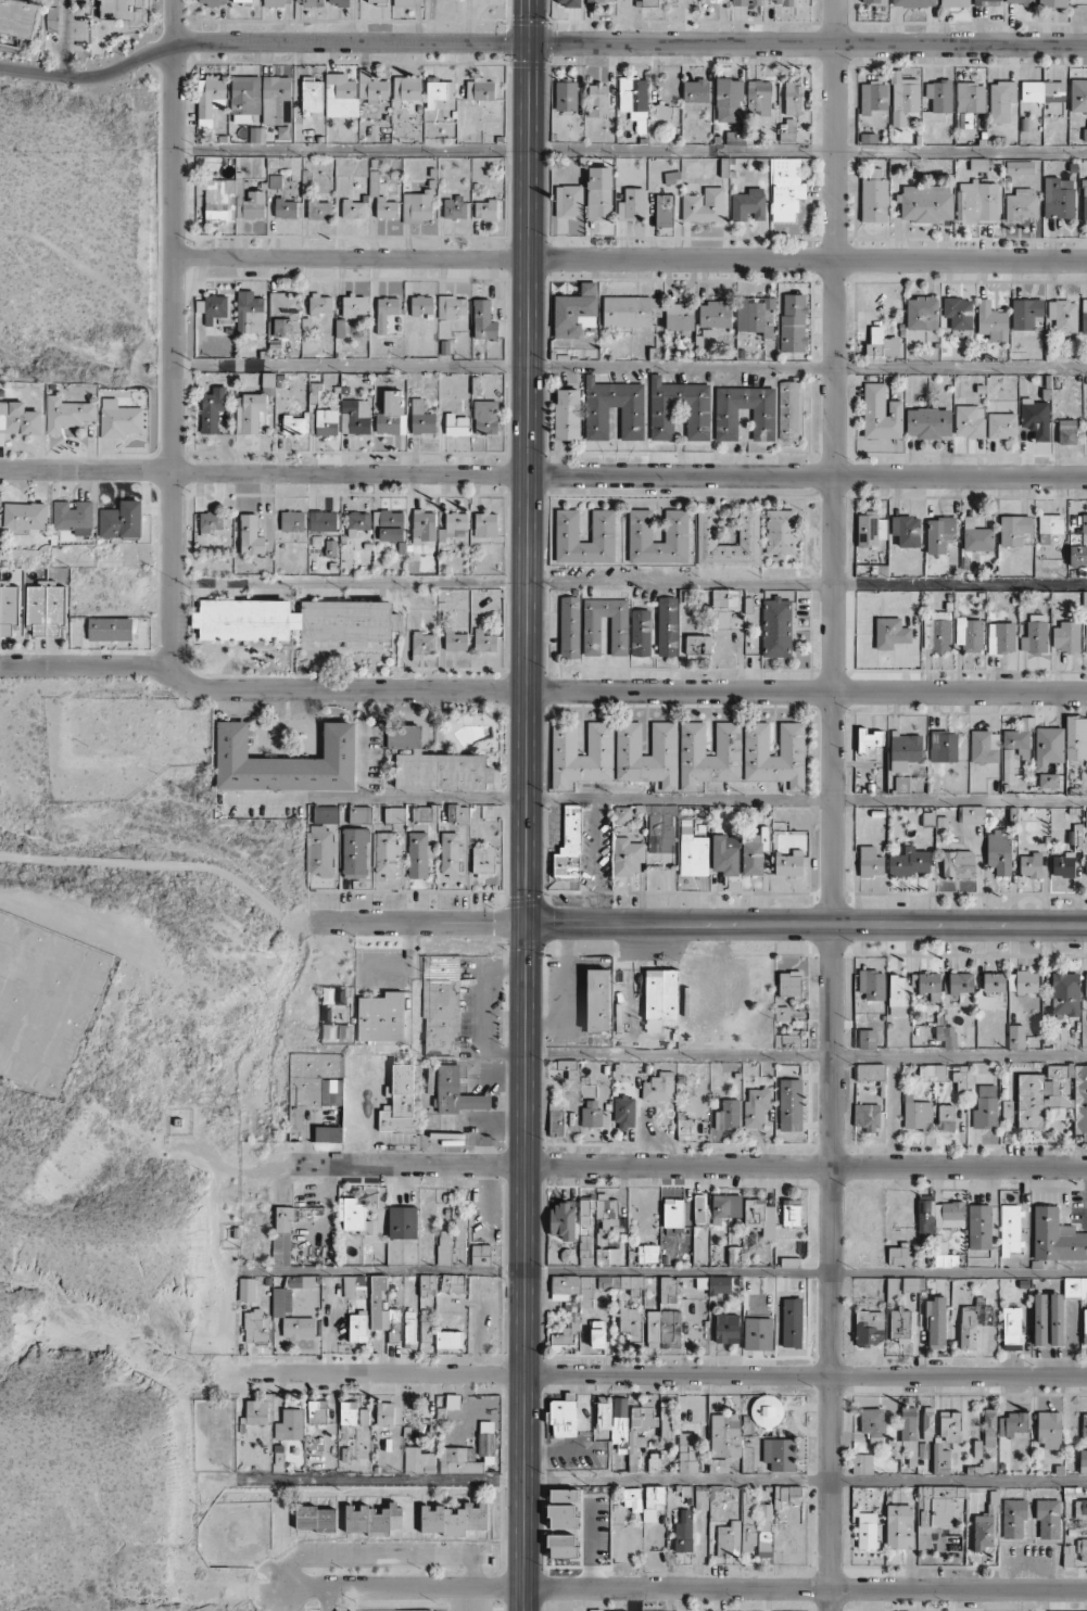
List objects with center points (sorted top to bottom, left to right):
building: (211, 1)
building: (242, 1)
building: (377, 1)
building: (599, 1)
building: (713, 1)
building: (780, 1)
building: (874, 1)
building: (1020, 1)
building: (277, 2)
building: (309, 2)
building: (341, 2)
building: (407, 2)
building: (568, 2)
building: (649, 2)
building: (746, 2)
building: (913, 2)
building: (986, 2)
building: (953, 3)
building: (1052, 3)
building: (118, 9)
building: (18, 17)
road: (531, 22)
road: (67, 38)
road: (261, 41)
road: (808, 43)
building: (371, 87)
building: (407, 88)
building: (480, 89)
building: (695, 90)
building: (1042, 91)
building: (439, 92)
building: (1078, 93)
building: (312, 94)
building: (340, 96)
building: (566, 96)
building: (939, 96)
building: (873, 97)
building: (244, 98)
building: (633, 98)
building: (793, 98)
building: (970, 98)
building: (210, 99)
building: (276, 100)
building: (598, 100)
building: (729, 100)
building: (759, 100)
building: (903, 100)
building: (1001, 100)
building: (662, 115)
building: (787, 130)
building: (1085, 134)
building: (256, 135)
road: (630, 152)
building: (672, 177)
building: (785, 189)
building: (598, 193)
building: (874, 196)
building: (1058, 196)
building: (232, 200)
building: (568, 200)
building: (1084, 200)
building: (978, 201)
building: (925, 203)
building: (632, 204)
building: (747, 204)
building: (1021, 204)
building: (704, 205)
building: (418, 206)
building: (454, 207)
building: (285, 208)
building: (354, 208)
building: (387, 208)
building: (319, 210)
building: (485, 210)
building: (663, 210)
road: (628, 258)
building: (320, 304)
building: (421, 304)
building: (354, 305)
building: (214, 307)
building: (576, 310)
building: (630, 310)
building: (958, 312)
building: (250, 313)
building: (922, 313)
building: (1026, 313)
building: (387, 314)
building: (715, 314)
building: (283, 315)
building: (755, 315)
building: (1063, 315)
building: (679, 316)
building: (1084, 316)
building: (483, 320)
building: (991, 321)
building: (793, 322)
road: (168, 332)
building: (881, 346)
road: (628, 366)
building: (267, 379)
building: (614, 394)
building: (212, 409)
building: (679, 409)
building: (788, 410)
building: (249, 411)
building: (881, 413)
building: (66, 414)
building: (392, 414)
building: (567, 414)
building: (355, 416)
building: (485, 417)
building: (421, 418)
building: (1036, 418)
building: (18, 419)
building: (119, 419)
building: (326, 421)
building: (969, 421)
building: (927, 422)
building: (725, 423)
building: (294, 424)
building: (456, 424)
building: (1001, 424)
building: (1067, 431)
road: (543, 473)
building: (25, 516)
building: (73, 517)
building: (122, 520)
building: (292, 520)
building: (323, 521)
building: (456, 521)
building: (212, 522)
building: (358, 523)
building: (1050, 523)
building: (485, 524)
building: (567, 524)
building: (391, 525)
building: (677, 525)
building: (424, 527)
building: (748, 527)
building: (1084, 528)
building: (869, 529)
building: (906, 530)
building: (1013, 530)
building: (780, 532)
building: (251, 534)
building: (939, 534)
building: (976, 536)
building: (1078, 556)
road: (627, 586)
building: (725, 598)
building: (45, 609)
building: (295, 620)
building: (569, 626)
building: (667, 626)
building: (776, 627)
building: (110, 629)
building: (937, 631)
building: (641, 632)
building: (890, 632)
building: (969, 633)
building: (1035, 634)
building: (591, 635)
building: (1085, 635)
building: (1065, 636)
building: (1001, 637)
building: (455, 640)
building: (484, 640)
building: (422, 642)
building: (698, 644)
road: (540, 690)
building: (1076, 737)
building: (869, 738)
building: (1020, 738)
building: (943, 746)
building: (984, 746)
building: (1048, 746)
building: (905, 750)
building: (286, 761)
building: (432, 764)
building: (1009, 765)
building: (582, 766)
building: (646, 768)
building: (709, 768)
building: (774, 768)
building: (1049, 779)
building: (901, 783)
road: (807, 800)
road: (832, 804)
building: (457, 812)
building: (424, 813)
building: (326, 814)
building: (359, 814)
building: (394, 814)
building: (622, 814)
building: (972, 814)
building: (1086, 819)
road: (527, 826)
building: (320, 851)
building: (754, 851)
building: (999, 851)
building: (355, 852)
building: (568, 852)
building: (692, 852)
building: (385, 853)
building: (450, 854)
building: (725, 854)
building: (417, 855)
building: (628, 857)
building: (483, 860)
building: (870, 862)
building: (910, 862)
building: (788, 863)
building: (959, 864)
building: (1031, 864)
building: (1063, 864)
building: (1085, 865)
road: (160, 866)
road: (417, 922)
road: (806, 924)
building: (994, 981)
building: (1023, 981)
building: (961, 982)
building: (871, 984)
building: (789, 985)
building: (930, 985)
building: (1085, 987)
building: (1065, 993)
building: (897, 995)
building: (660, 998)
building: (598, 1000)
building: (441, 1004)
building: (381, 1017)
building: (946, 1035)
building: (1015, 1037)
building: (867, 1038)
building: (786, 1040)
road: (807, 1054)
building: (571, 1068)
building: (870, 1071)
building: (932, 1071)
building: (960, 1078)
building: (313, 1083)
building: (659, 1087)
building: (455, 1095)
building: (1053, 1095)
building: (400, 1099)
building: (791, 1104)
building: (756, 1107)
building: (985, 1107)
building: (1007, 1111)
building: (624, 1112)
building: (593, 1114)
building: (728, 1115)
building: (918, 1115)
building: (867, 1116)
building: (946, 1117)
building: (555, 1119)
building: (684, 1128)
building: (328, 1133)
road: (652, 1166)
building: (726, 1205)
building: (700, 1208)
building: (598, 1210)
building: (792, 1212)
building: (672, 1213)
building: (351, 1214)
building: (952, 1214)
building: (760, 1217)
building: (563, 1220)
building: (403, 1222)
building: (926, 1223)
building: (979, 1227)
building: (1010, 1229)
building: (282, 1233)
building: (1056, 1236)
building: (452, 1243)
building: (585, 1250)
building: (647, 1253)
building: (480, 1255)
building: (607, 1256)
building: (900, 1256)
road: (663, 1271)
building: (300, 1281)
building: (608, 1281)
building: (427, 1282)
building: (452, 1282)
building: (912, 1283)
building: (719, 1284)
building: (1075, 1285)
building: (354, 1286)
building: (247, 1289)
building: (573, 1289)
building: (668, 1290)
building: (892, 1290)
building: (281, 1301)
building: (378, 1303)
building: (574, 1318)
building: (1039, 1319)
building: (1057, 1319)
building: (974, 1321)
building: (792, 1322)
building: (935, 1322)
building: (393, 1324)
building: (632, 1324)
building: (426, 1325)
building: (899, 1325)
building: (1085, 1325)
building: (255, 1327)
building: (299, 1327)
building: (869, 1327)
building: (357, 1328)
building: (726, 1328)
building: (409, 1329)
building: (653, 1329)
building: (670, 1329)
building: (597, 1333)
building: (758, 1333)
building: (448, 1340)
road: (642, 1374)
building: (453, 1400)
building: (256, 1411)
building: (317, 1411)
building: (767, 1411)
building: (353, 1413)
building: (384, 1413)
building: (564, 1416)
building: (614, 1419)
building: (666, 1420)
building: (872, 1423)
building: (927, 1423)
building: (290, 1424)
building: (1012, 1424)
building: (950, 1426)
building: (1084, 1426)
building: (989, 1428)
building: (1049, 1429)
building: (725, 1435)
building: (907, 1435)
building: (486, 1441)
building: (923, 1450)
building: (687, 1451)
building: (780, 1454)
building: (418, 1460)
building: (458, 1460)
building: (940, 1460)
building: (654, 1461)
building: (1083, 1461)
building: (862, 1463)
building: (718, 1464)
road: (642, 1483)
building: (787, 1492)
building: (717, 1493)
building: (564, 1495)
building: (700, 1497)
building: (632, 1498)
building: (653, 1501)
building: (936, 1506)
building: (1080, 1507)
building: (561, 1515)
building: (1013, 1518)
building: (316, 1519)
building: (372, 1519)
building: (453, 1519)
building: (1048, 1519)
building: (747, 1521)
building: (899, 1526)
building: (764, 1530)
building: (867, 1531)
building: (683, 1532)
building: (983, 1532)
building: (729, 1539)
building: (563, 1546)
building: (1082, 1549)
road: (381, 1559)
road: (684, 1588)
road: (326, 1599)
building: (1082, 1610)

